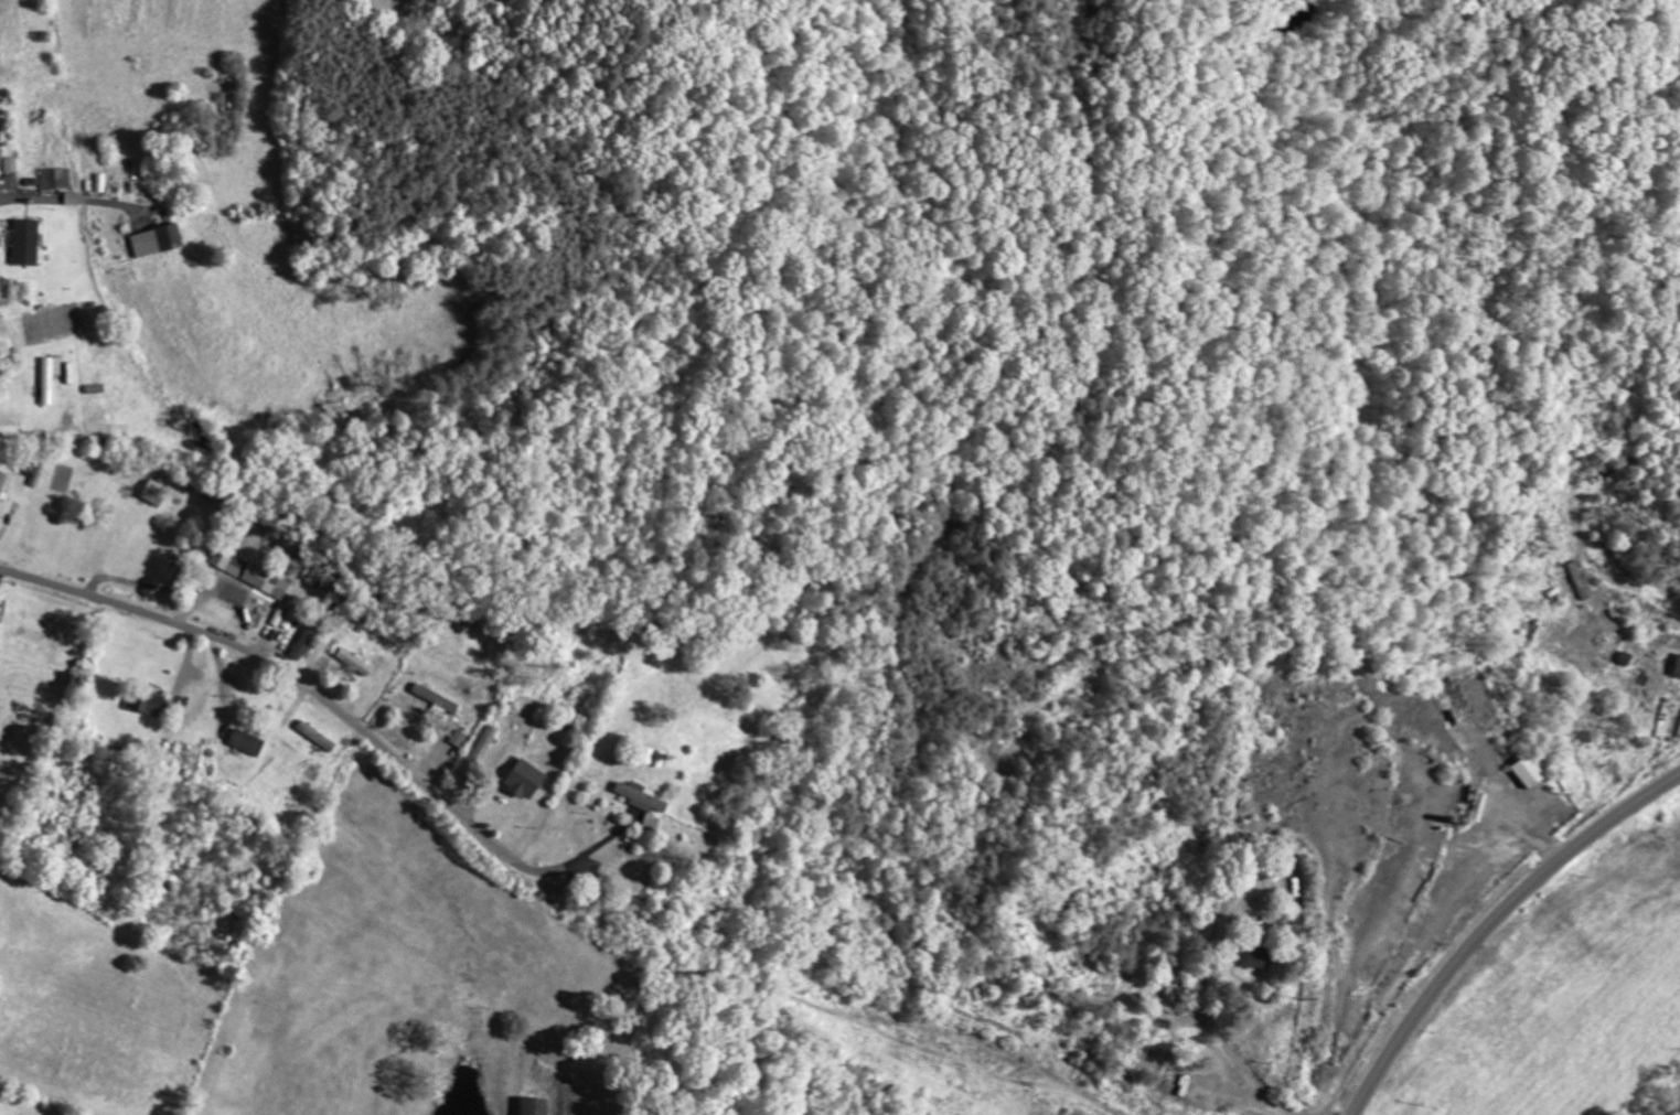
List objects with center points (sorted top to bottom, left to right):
building: (160, 240)
building: (29, 242)
building: (52, 377)
building: (2, 483)
building: (158, 491)
building: (253, 571)
building: (1, 631)
building: (309, 639)
building: (357, 661)
building: (1679, 673)
road: (300, 682)
building: (150, 700)
building: (440, 700)
building: (460, 737)
building: (250, 741)
building: (484, 746)
building: (1533, 770)
building: (528, 779)
building: (644, 796)
building: (653, 822)
road: (1492, 921)
building: (1260, 955)
building: (539, 1105)

